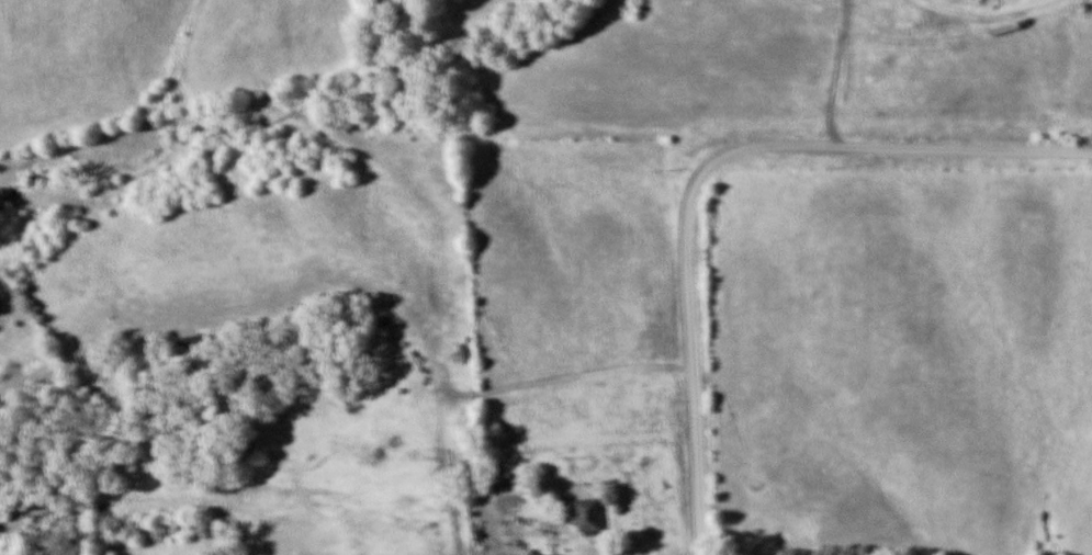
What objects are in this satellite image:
road: (747, 178)
building: (584, 514)

